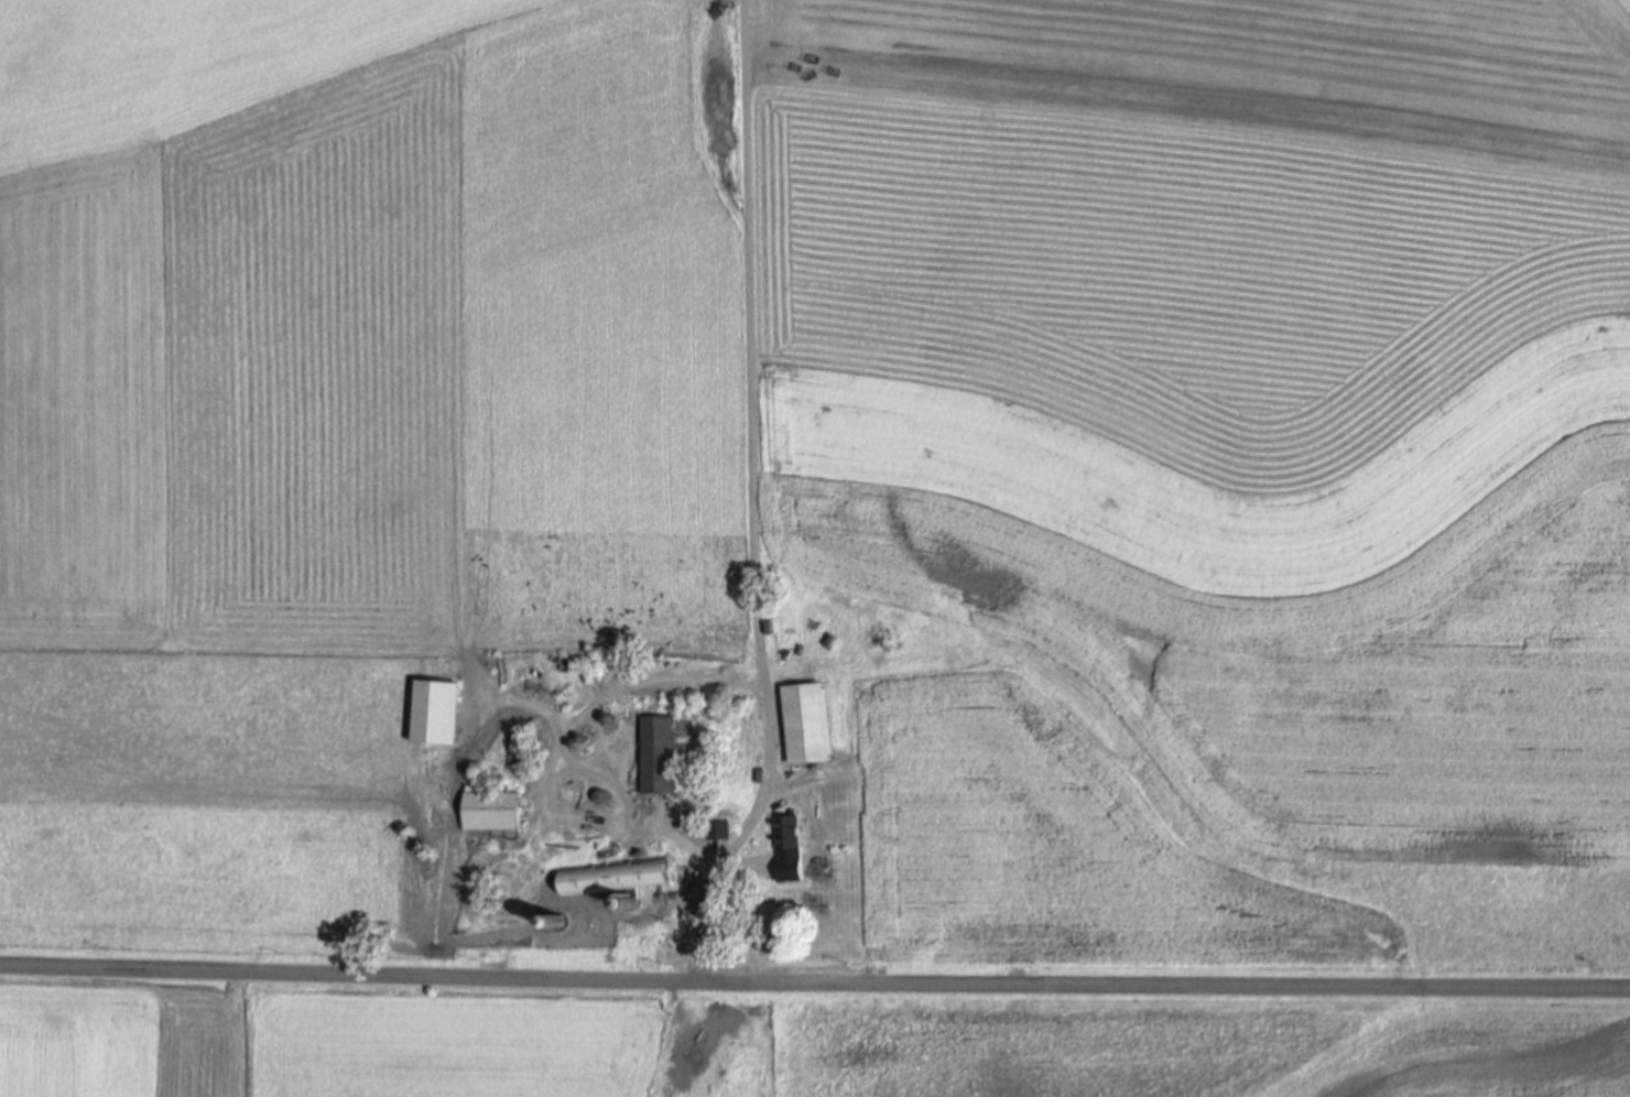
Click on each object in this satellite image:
road: (698, 677)
building: (805, 721)
building: (658, 754)
building: (492, 811)
building: (716, 828)
building: (786, 830)
building: (616, 878)
road: (814, 985)

